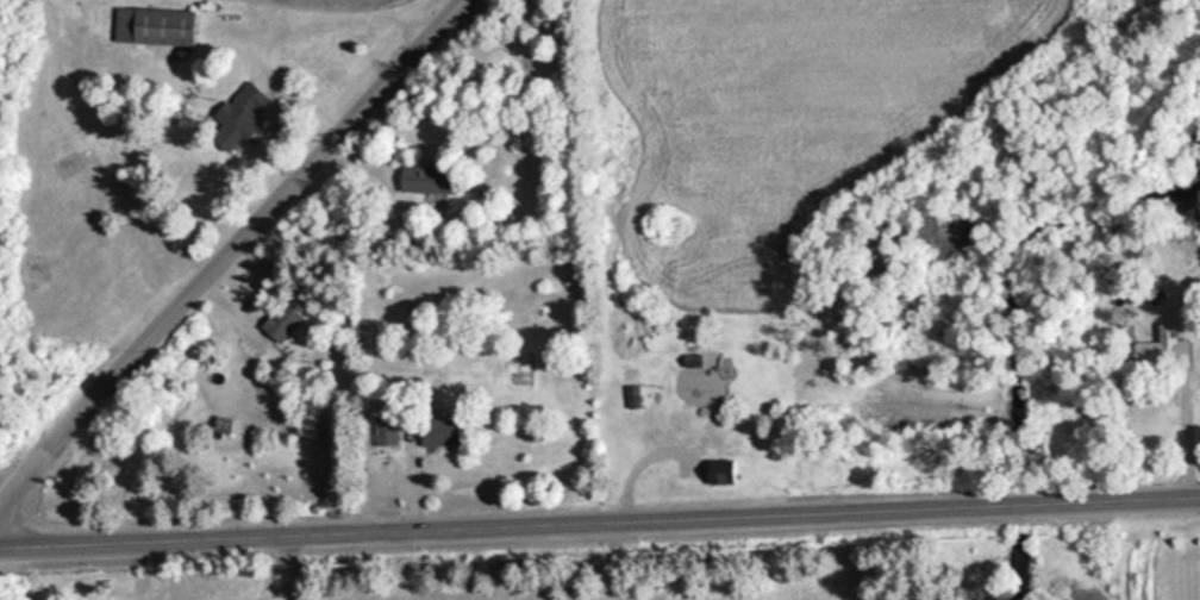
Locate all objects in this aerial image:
building: (150, 25)
building: (237, 118)
building: (408, 176)
road: (251, 219)
building: (276, 321)
building: (1162, 349)
building: (629, 396)
building: (218, 425)
building: (381, 427)
building: (432, 429)
road: (24, 469)
building: (717, 469)
road: (599, 514)

